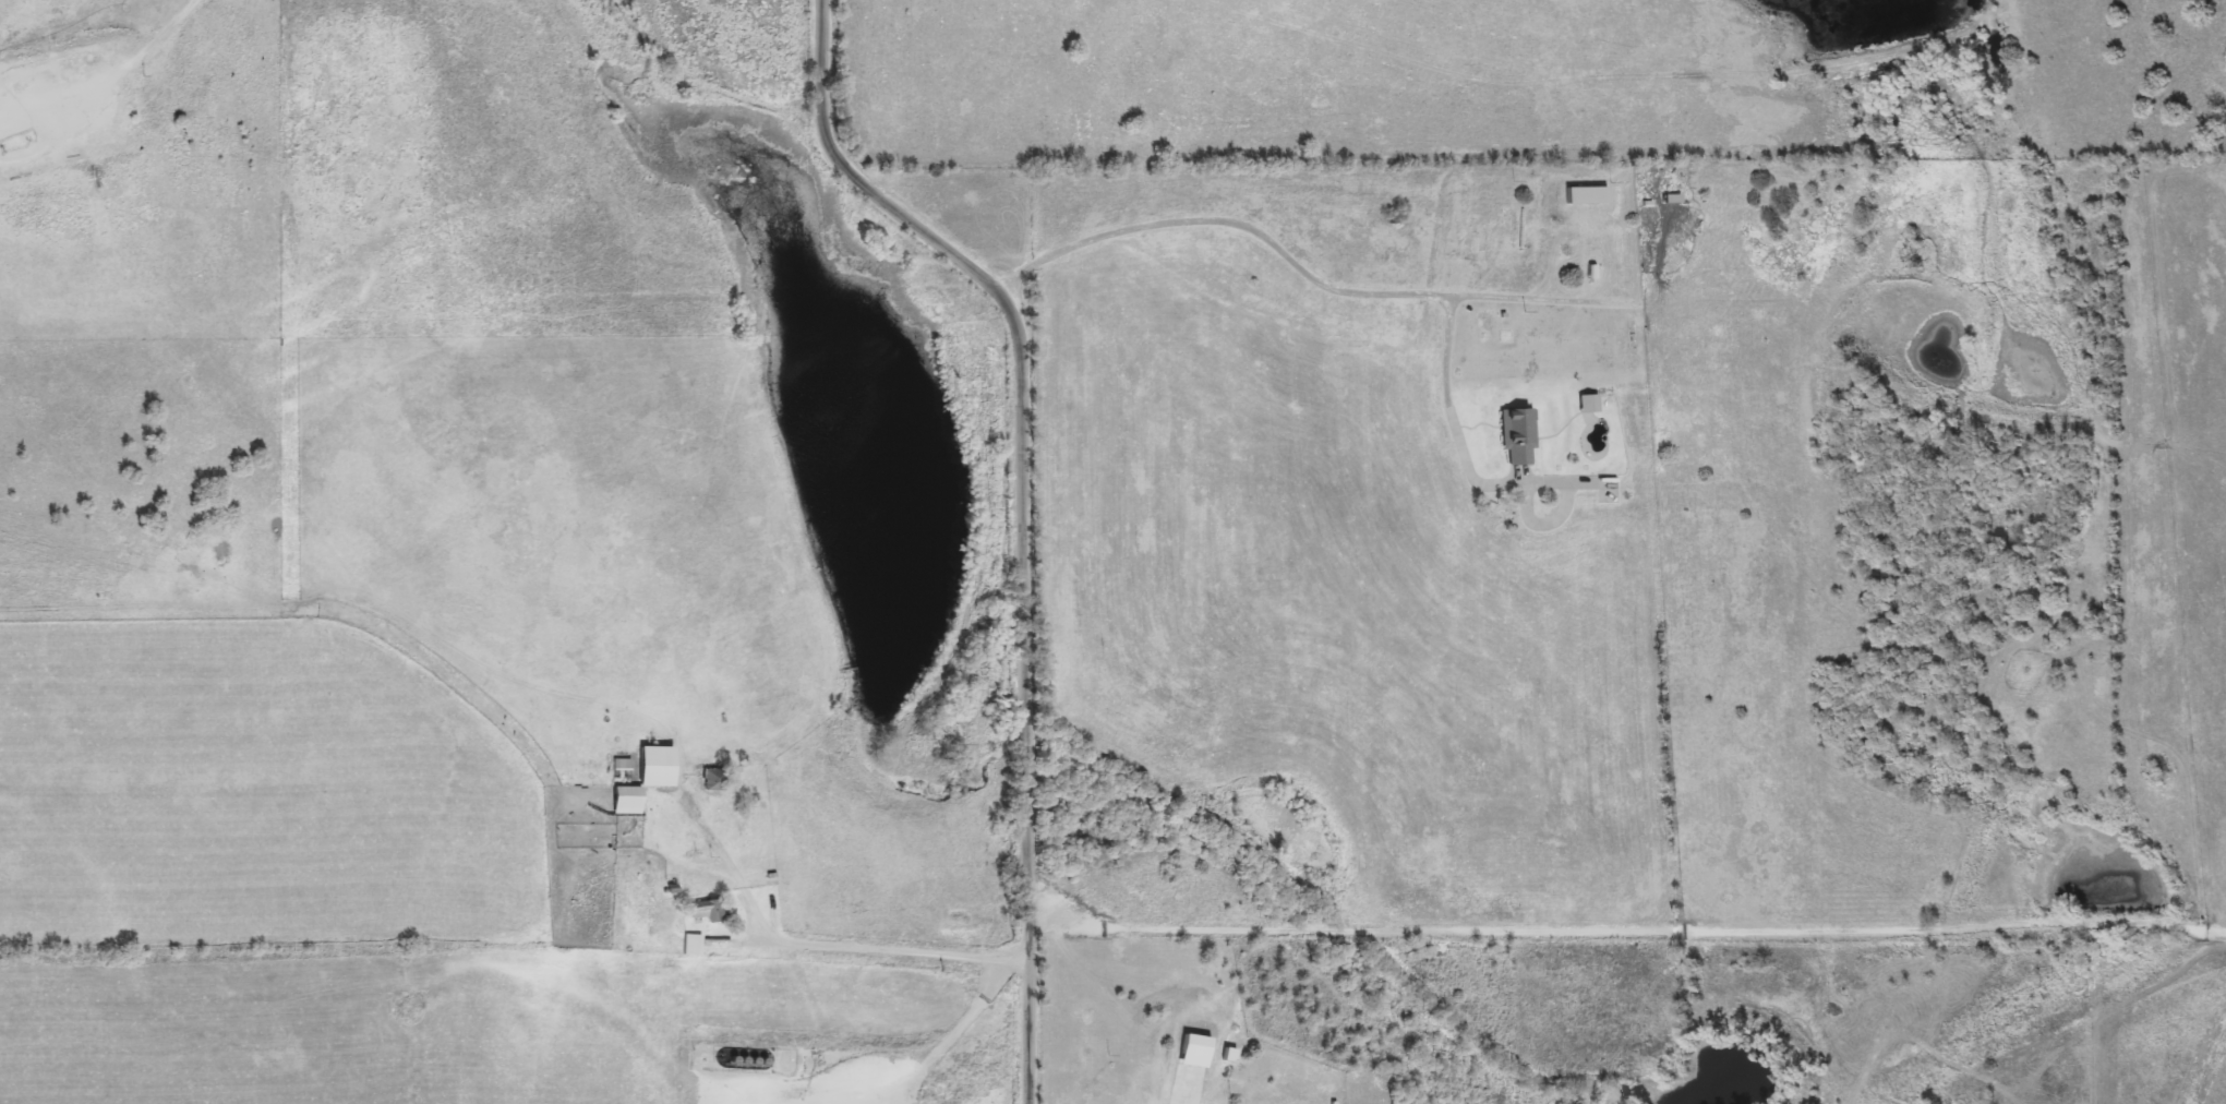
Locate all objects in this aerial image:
road: (166, 27)
building: (1584, 195)
road: (1395, 292)
road: (1526, 296)
building: (1587, 404)
building: (1515, 436)
road: (1030, 512)
road: (705, 519)
building: (641, 778)
building: (711, 780)
building: (705, 910)
road: (1631, 933)
road: (829, 937)
building: (689, 945)
road: (965, 1019)

